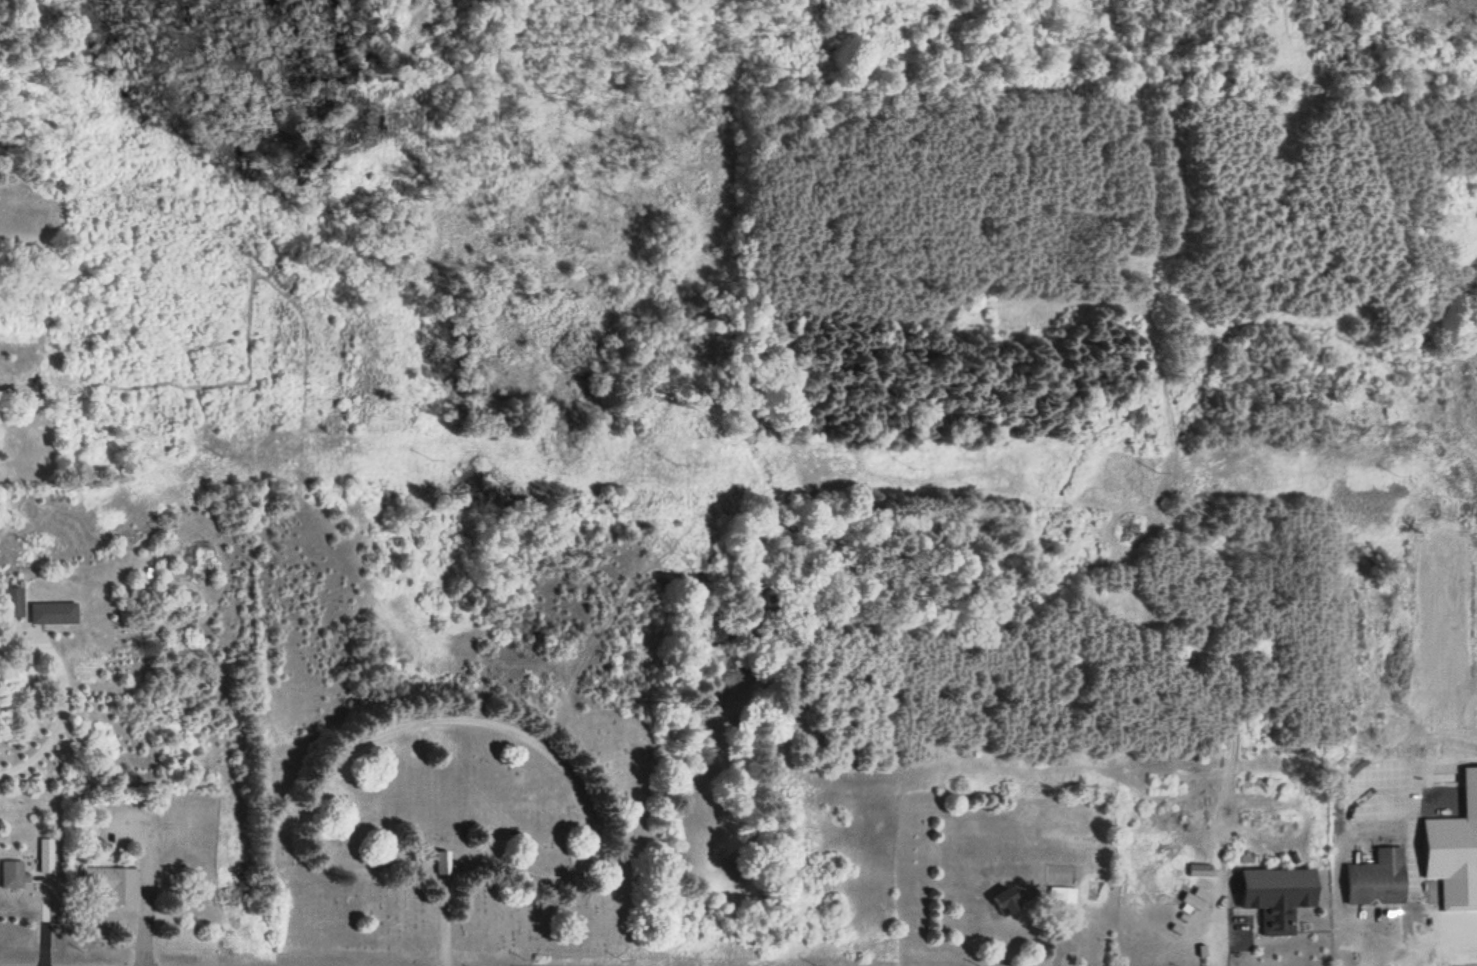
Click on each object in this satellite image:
building: (13, 601)
building: (53, 611)
road: (514, 729)
park: (447, 827)
building: (440, 861)
building: (13, 874)
building: (1377, 878)
building: (112, 883)
building: (1276, 896)
building: (1011, 897)
building: (1059, 897)
road: (442, 927)

